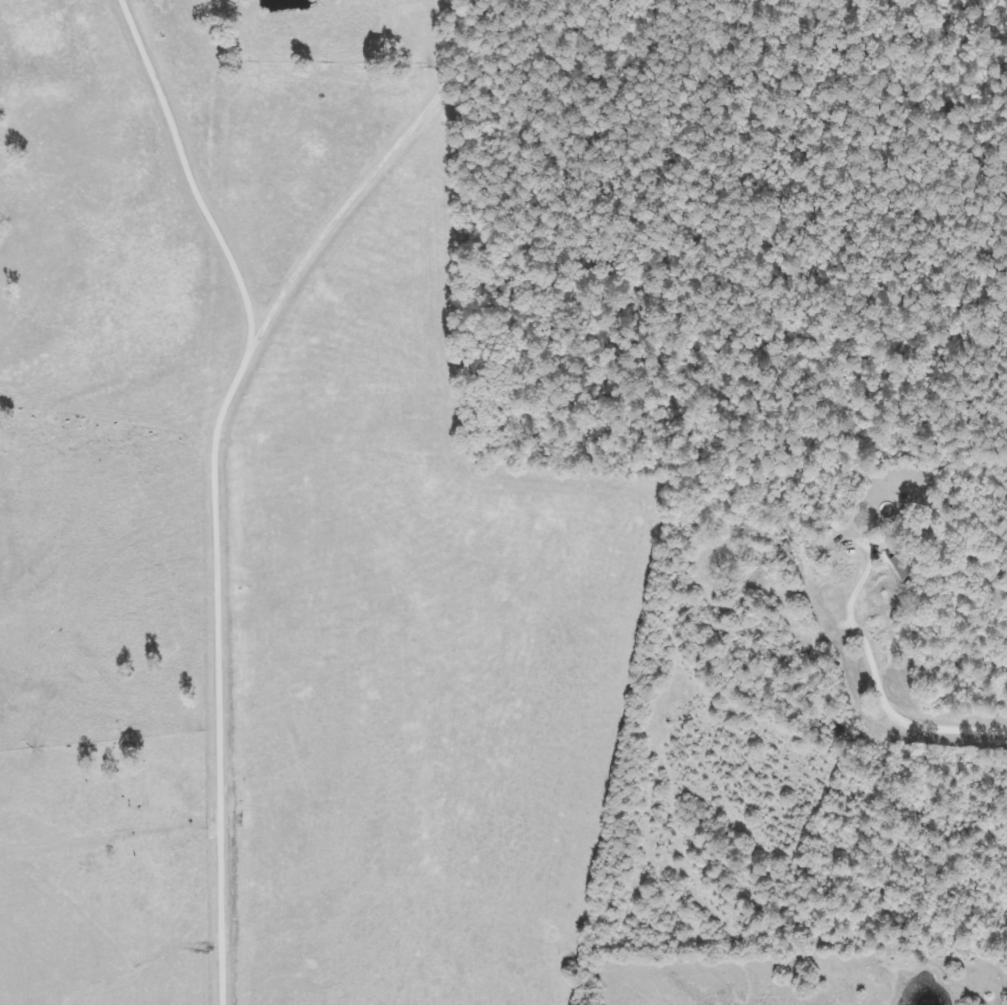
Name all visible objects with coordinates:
building: (897, 566)
building: (842, 570)
building: (1005, 664)
road: (993, 722)

